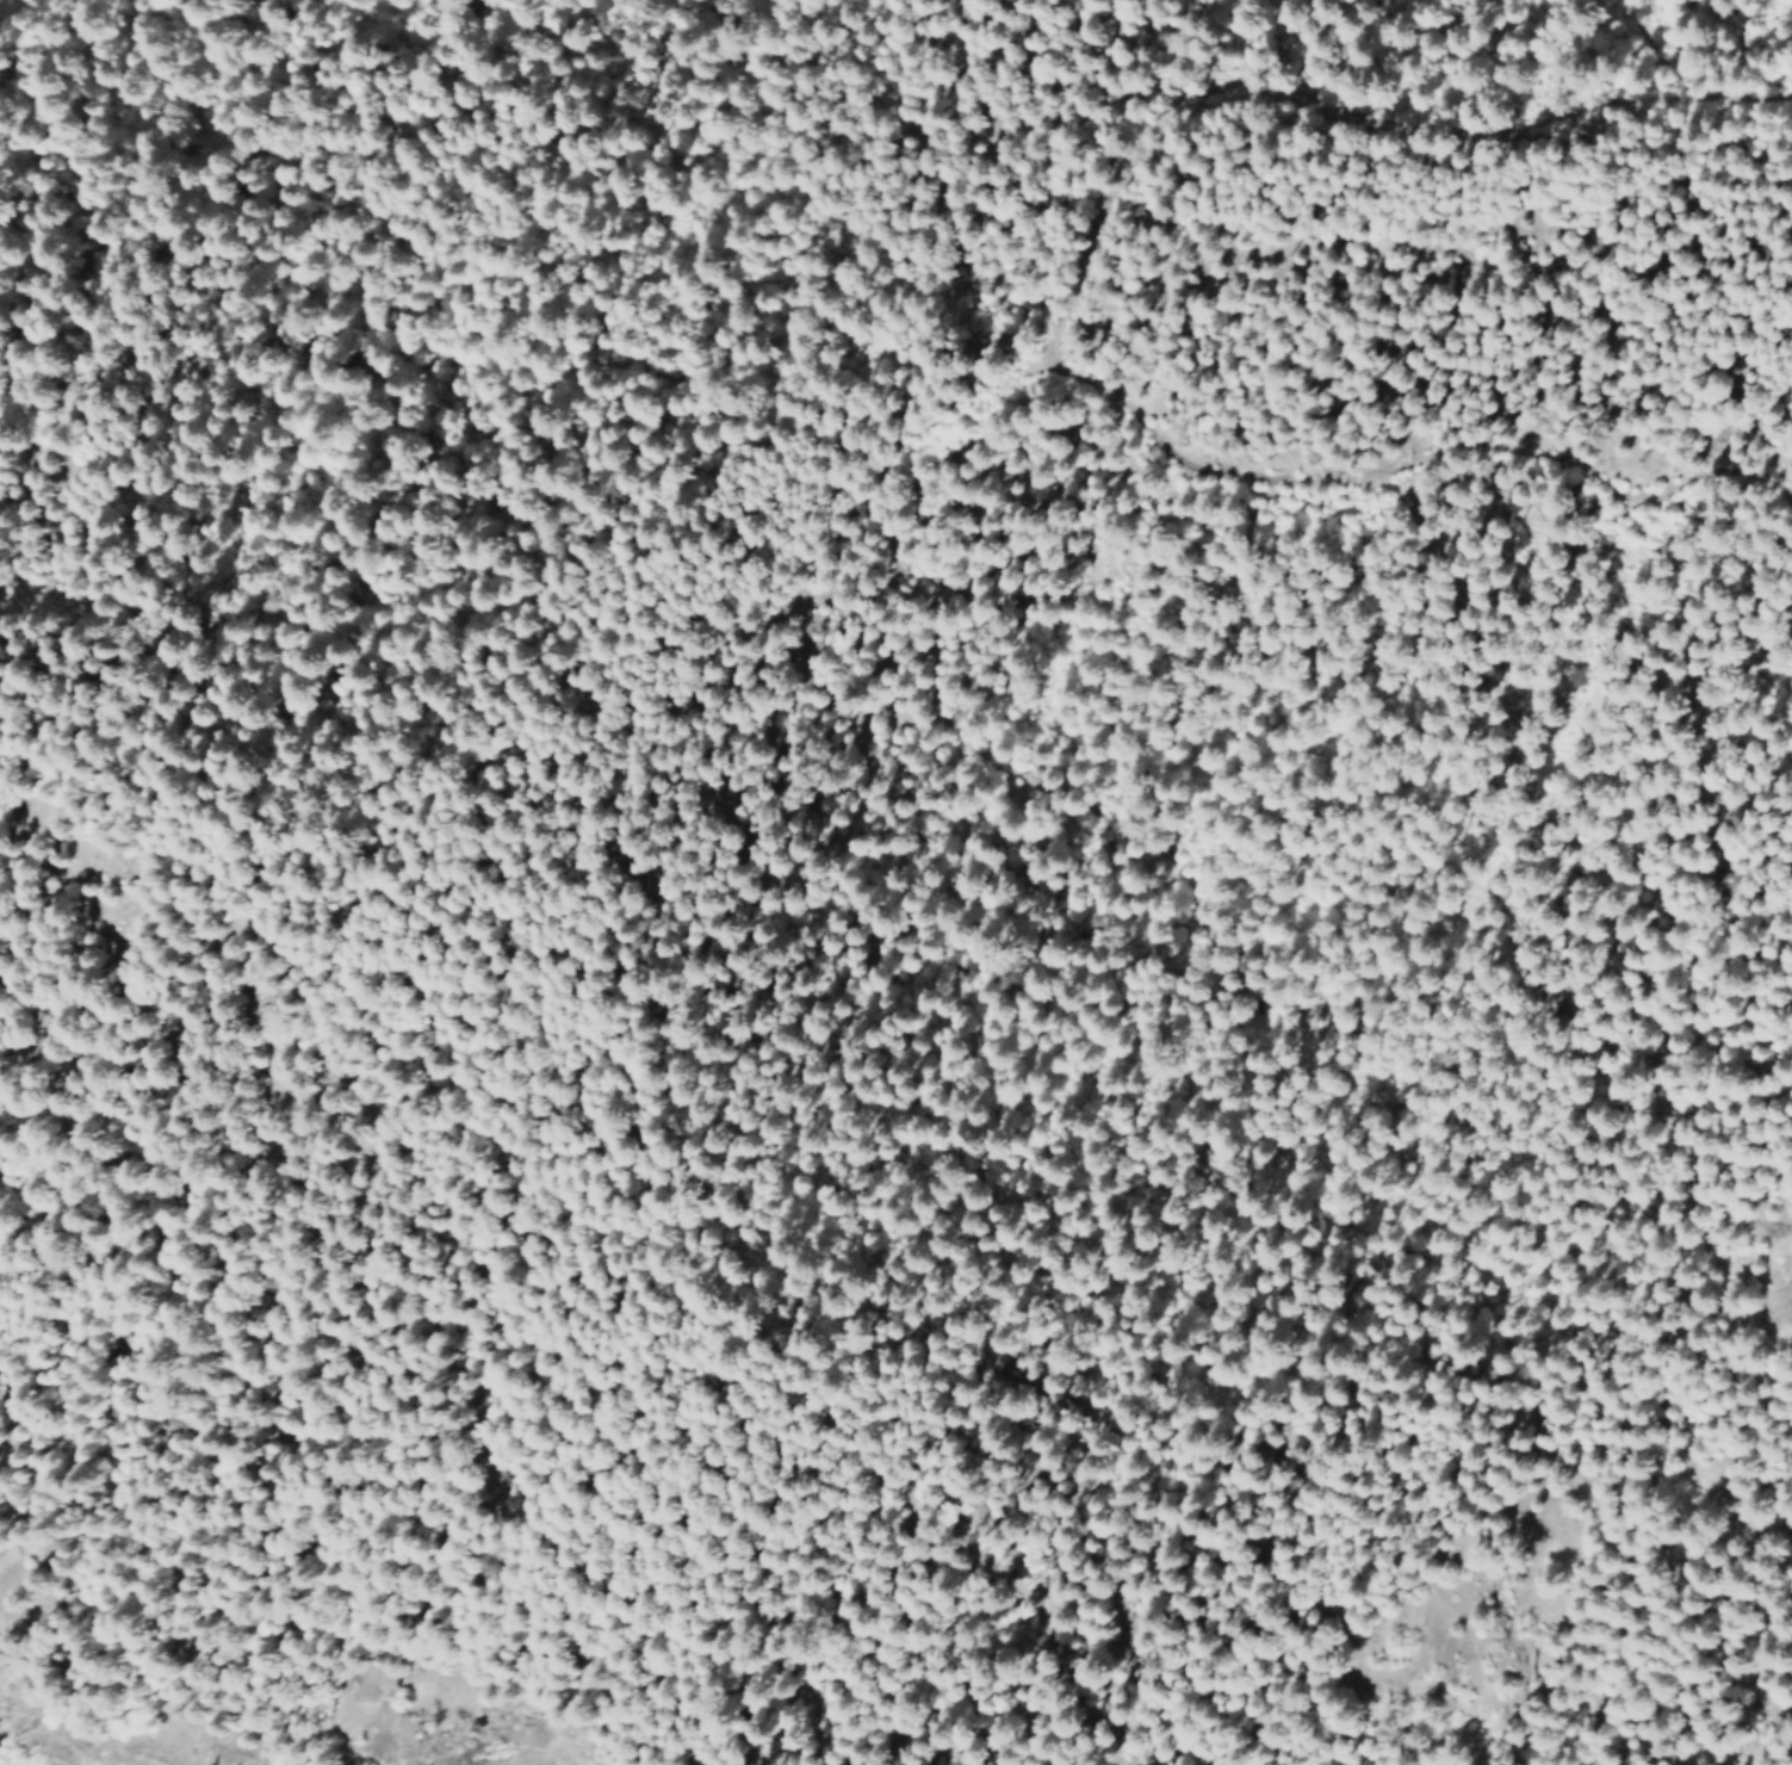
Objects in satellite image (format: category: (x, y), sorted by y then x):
road: (1363, 1430)
road: (373, 1457)

